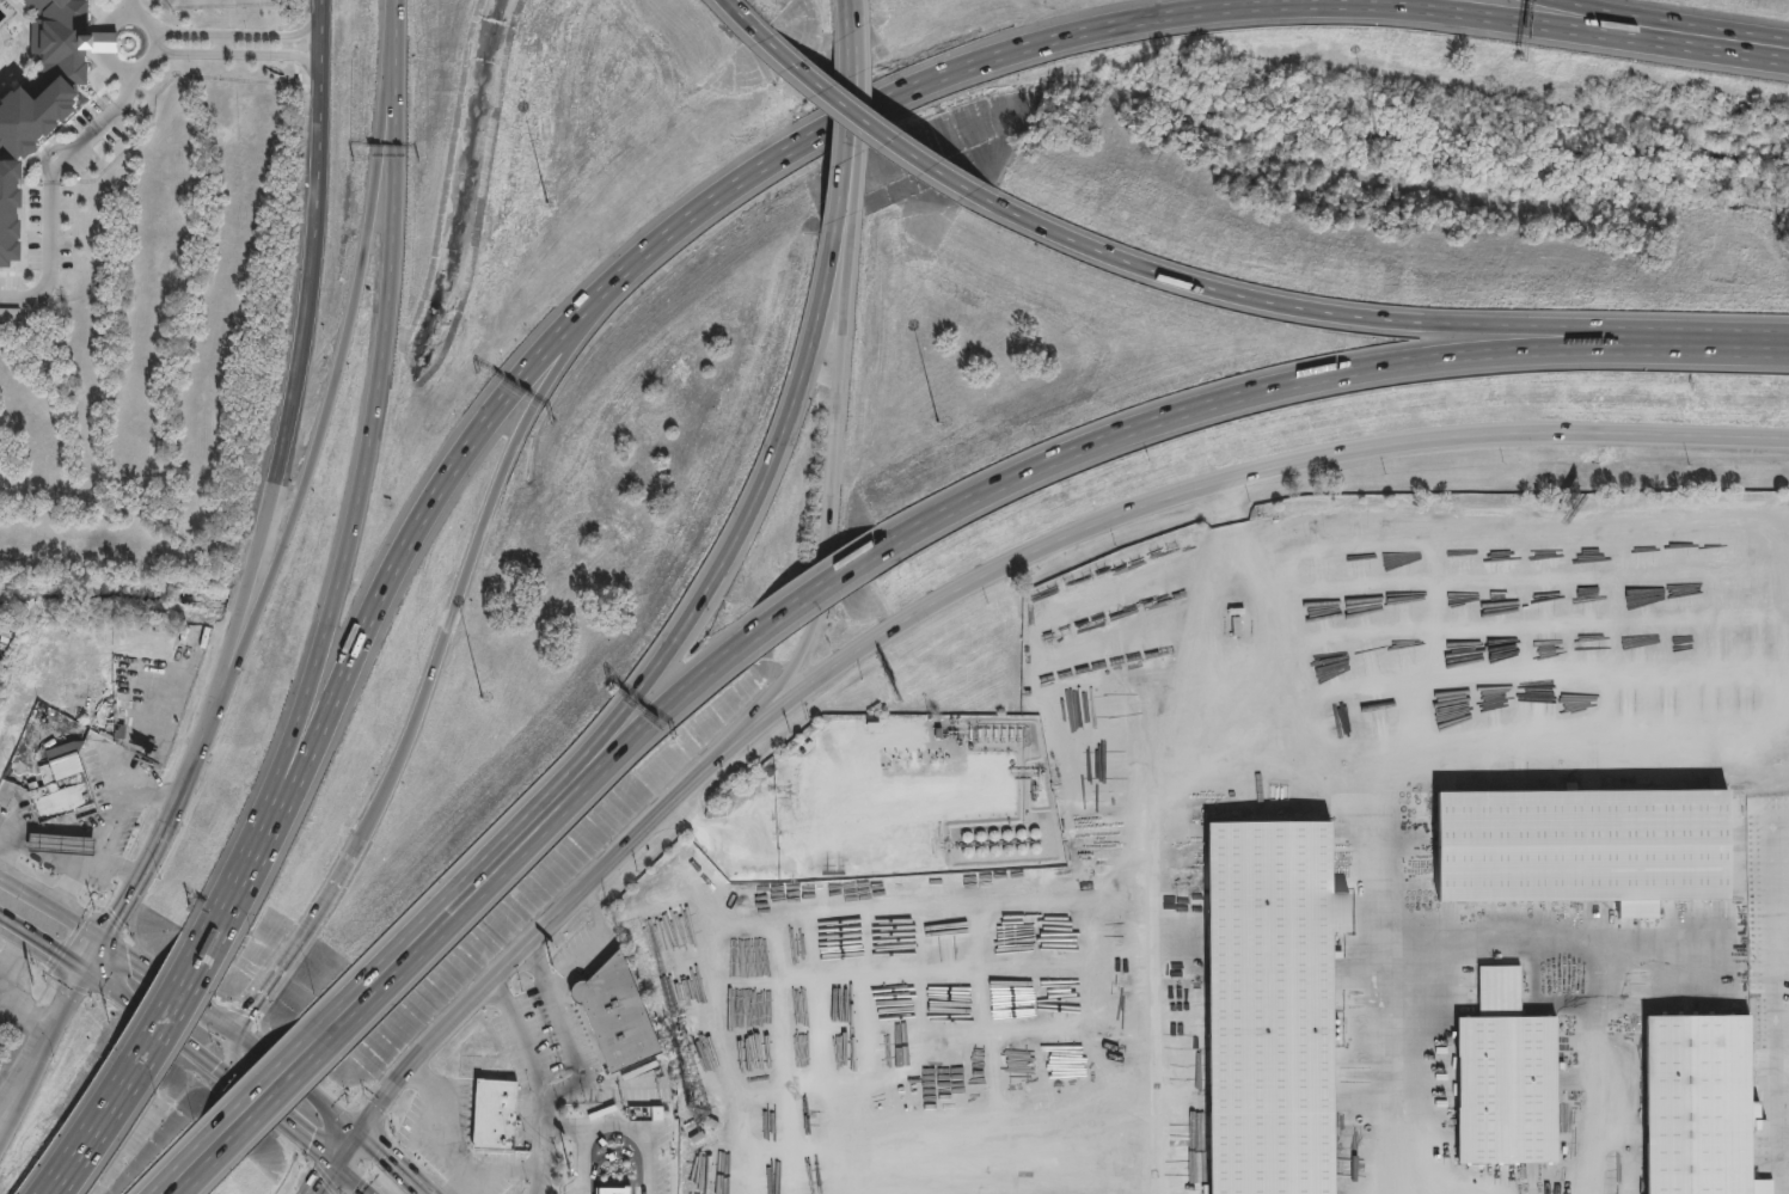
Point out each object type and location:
road: (857, 13)
road: (400, 14)
road: (1169, 14)
road: (844, 16)
road: (739, 17)
road: (1671, 20)
road: (143, 22)
road: (320, 39)
road: (157, 43)
road: (222, 45)
building: (39, 91)
road: (857, 120)
road: (858, 121)
road: (843, 125)
road: (321, 167)
road: (54, 171)
building: (10, 313)
road: (1368, 317)
road: (354, 330)
road: (1313, 376)
road: (290, 436)
road: (364, 460)
road: (827, 508)
road: (471, 555)
road: (396, 558)
road: (715, 570)
road: (978, 576)
road: (803, 594)
road: (1383, 766)
building: (66, 789)
road: (1000, 814)
road: (116, 822)
road: (532, 837)
building: (62, 844)
building: (1583, 845)
road: (56, 863)
road: (90, 867)
road: (148, 871)
road: (227, 902)
road: (593, 907)
road: (53, 911)
road: (1152, 923)
road: (295, 938)
road: (397, 942)
road: (1531, 942)
traffic signals: (106, 943)
road: (203, 948)
road: (575, 959)
road: (11, 963)
traffic signals: (84, 974)
road: (172, 988)
road: (1772, 997)
building: (1272, 1005)
road: (26, 1010)
building: (615, 1014)
road: (145, 1016)
road: (161, 1020)
traffic signals: (238, 1034)
road: (566, 1034)
road: (234, 1055)
road: (1390, 1067)
road: (263, 1076)
building: (1506, 1076)
road: (540, 1080)
road: (301, 1083)
road: (282, 1089)
road: (24, 1090)
building: (1699, 1106)
building: (495, 1113)
road: (440, 1116)
building: (710, 1120)
road: (609, 1127)
road: (563, 1128)
road: (90, 1133)
traffic signals: (366, 1133)
building: (696, 1135)
road: (312, 1144)
road: (353, 1151)
road: (179, 1161)
road: (397, 1162)
road: (204, 1167)
traffic signals: (339, 1170)
road: (490, 1170)
road: (331, 1182)
road: (350, 1182)
building: (612, 1189)

